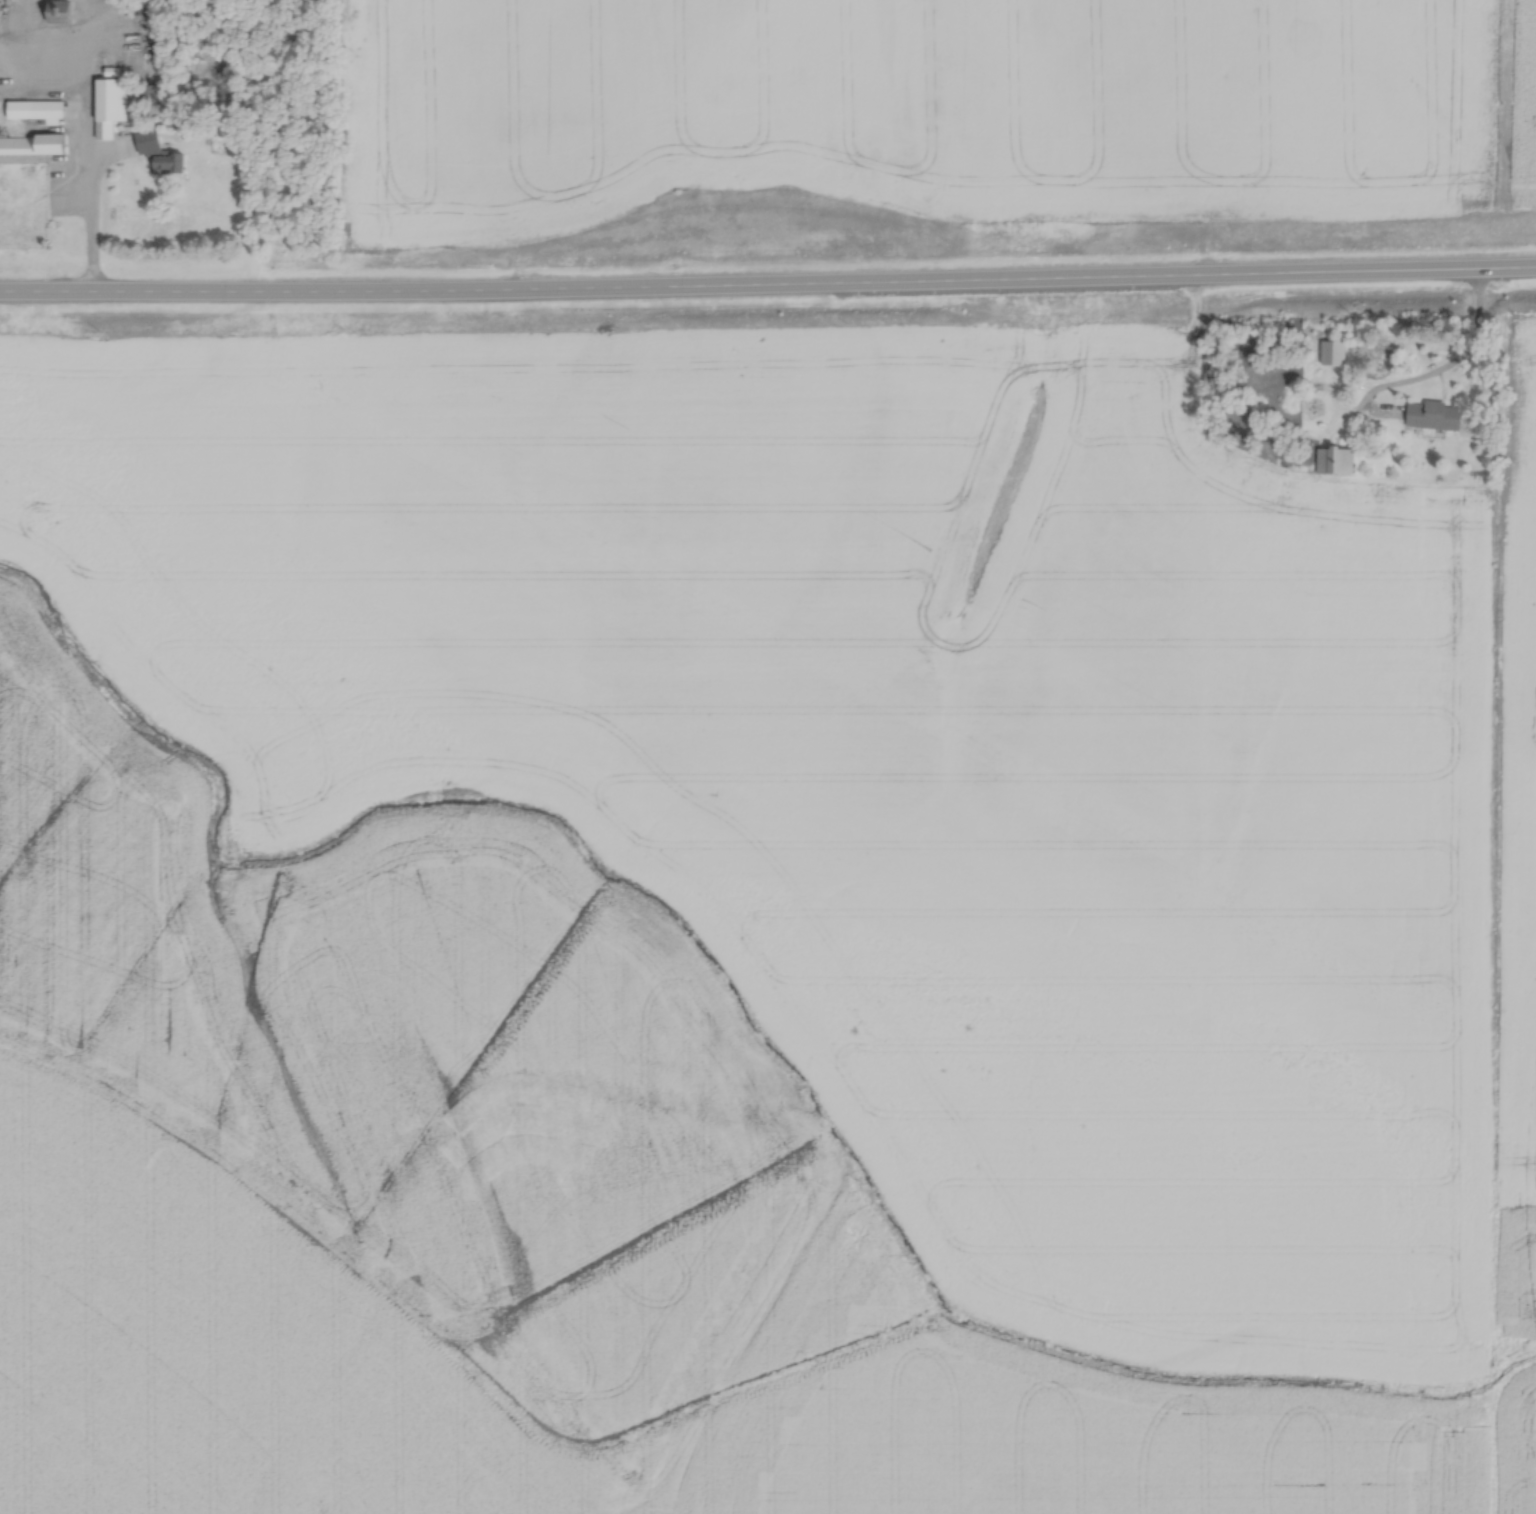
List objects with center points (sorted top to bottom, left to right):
building: (61, 10)
building: (107, 102)
building: (47, 106)
building: (33, 143)
building: (168, 158)
road: (89, 225)
road: (768, 286)
road: (1445, 363)
building: (1436, 410)
building: (1335, 454)

